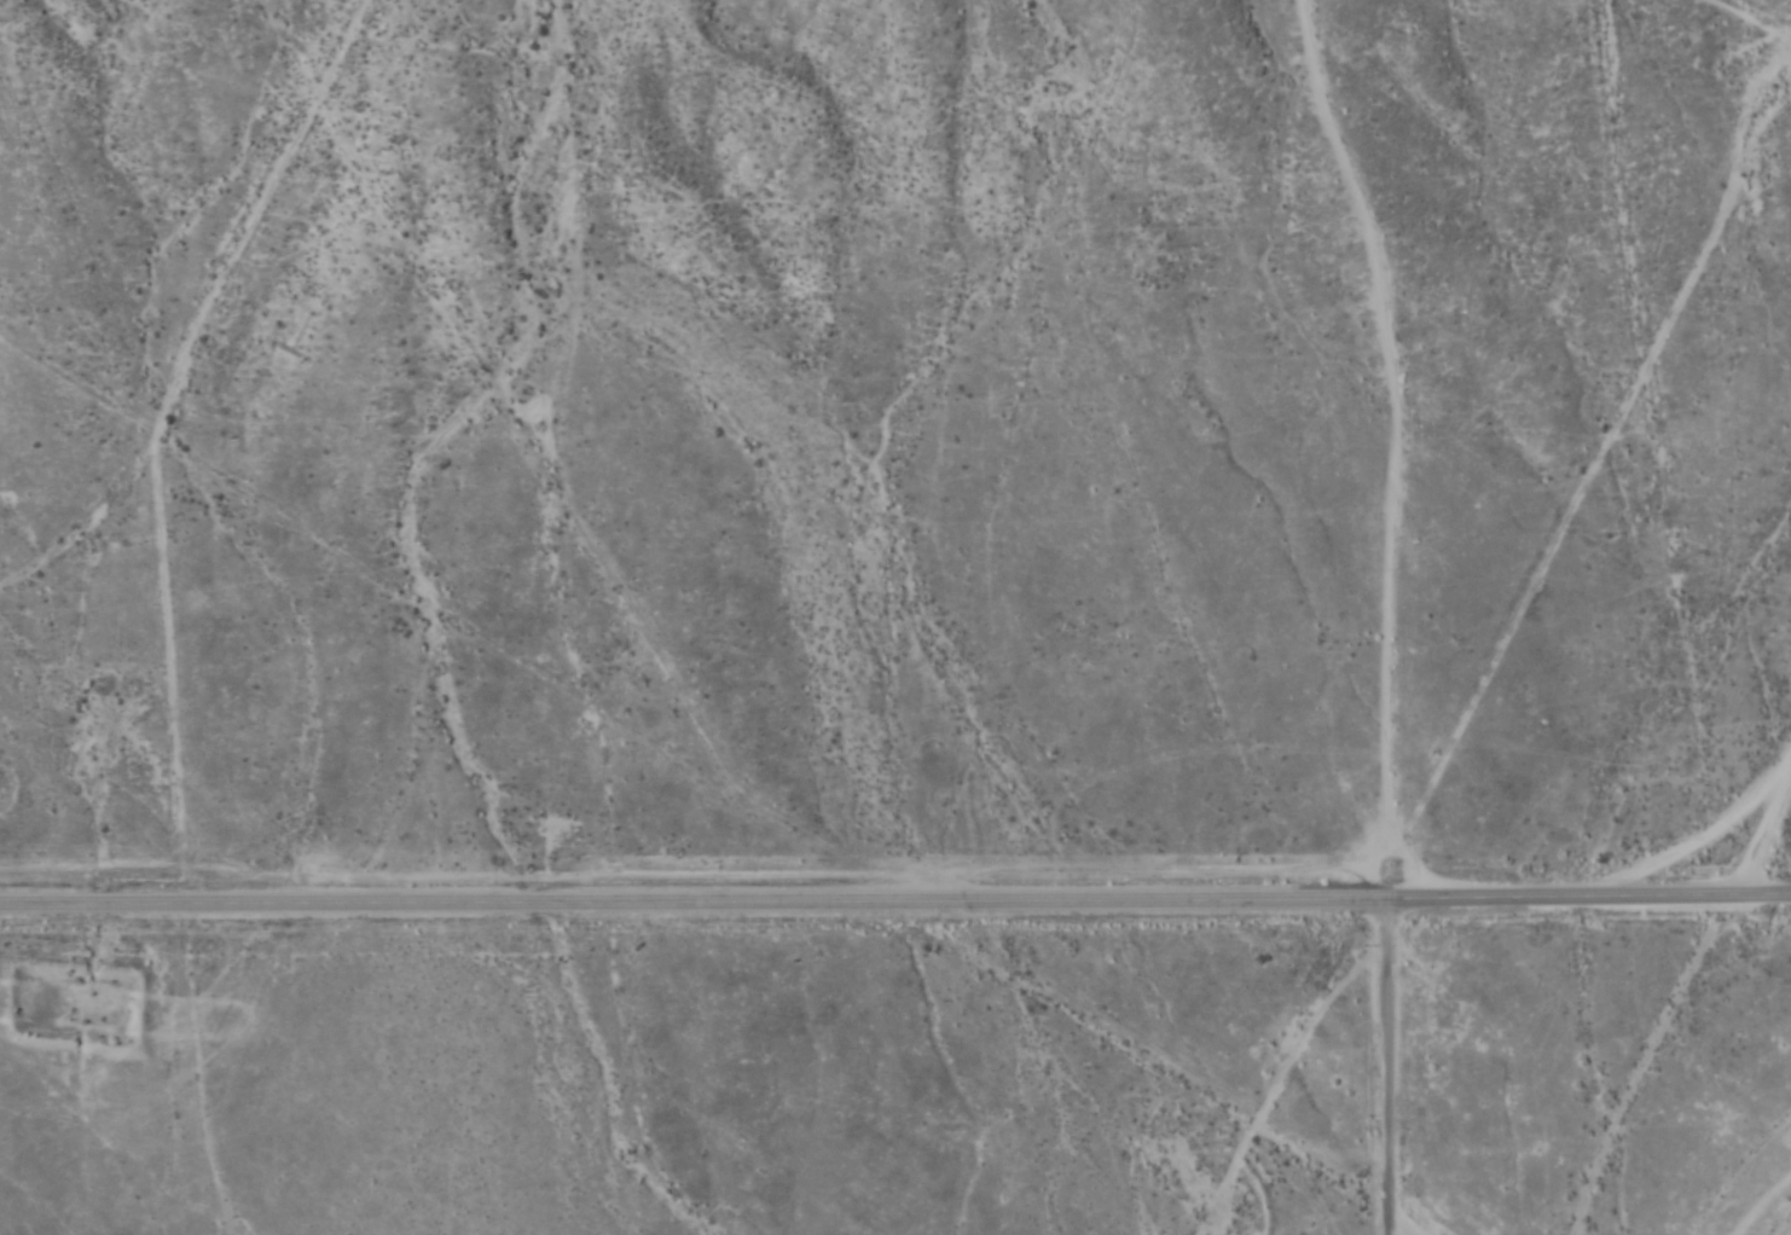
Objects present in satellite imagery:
road: (712, 802)
road: (1762, 827)
road: (895, 905)
road: (1683, 1066)
road: (1384, 1067)

